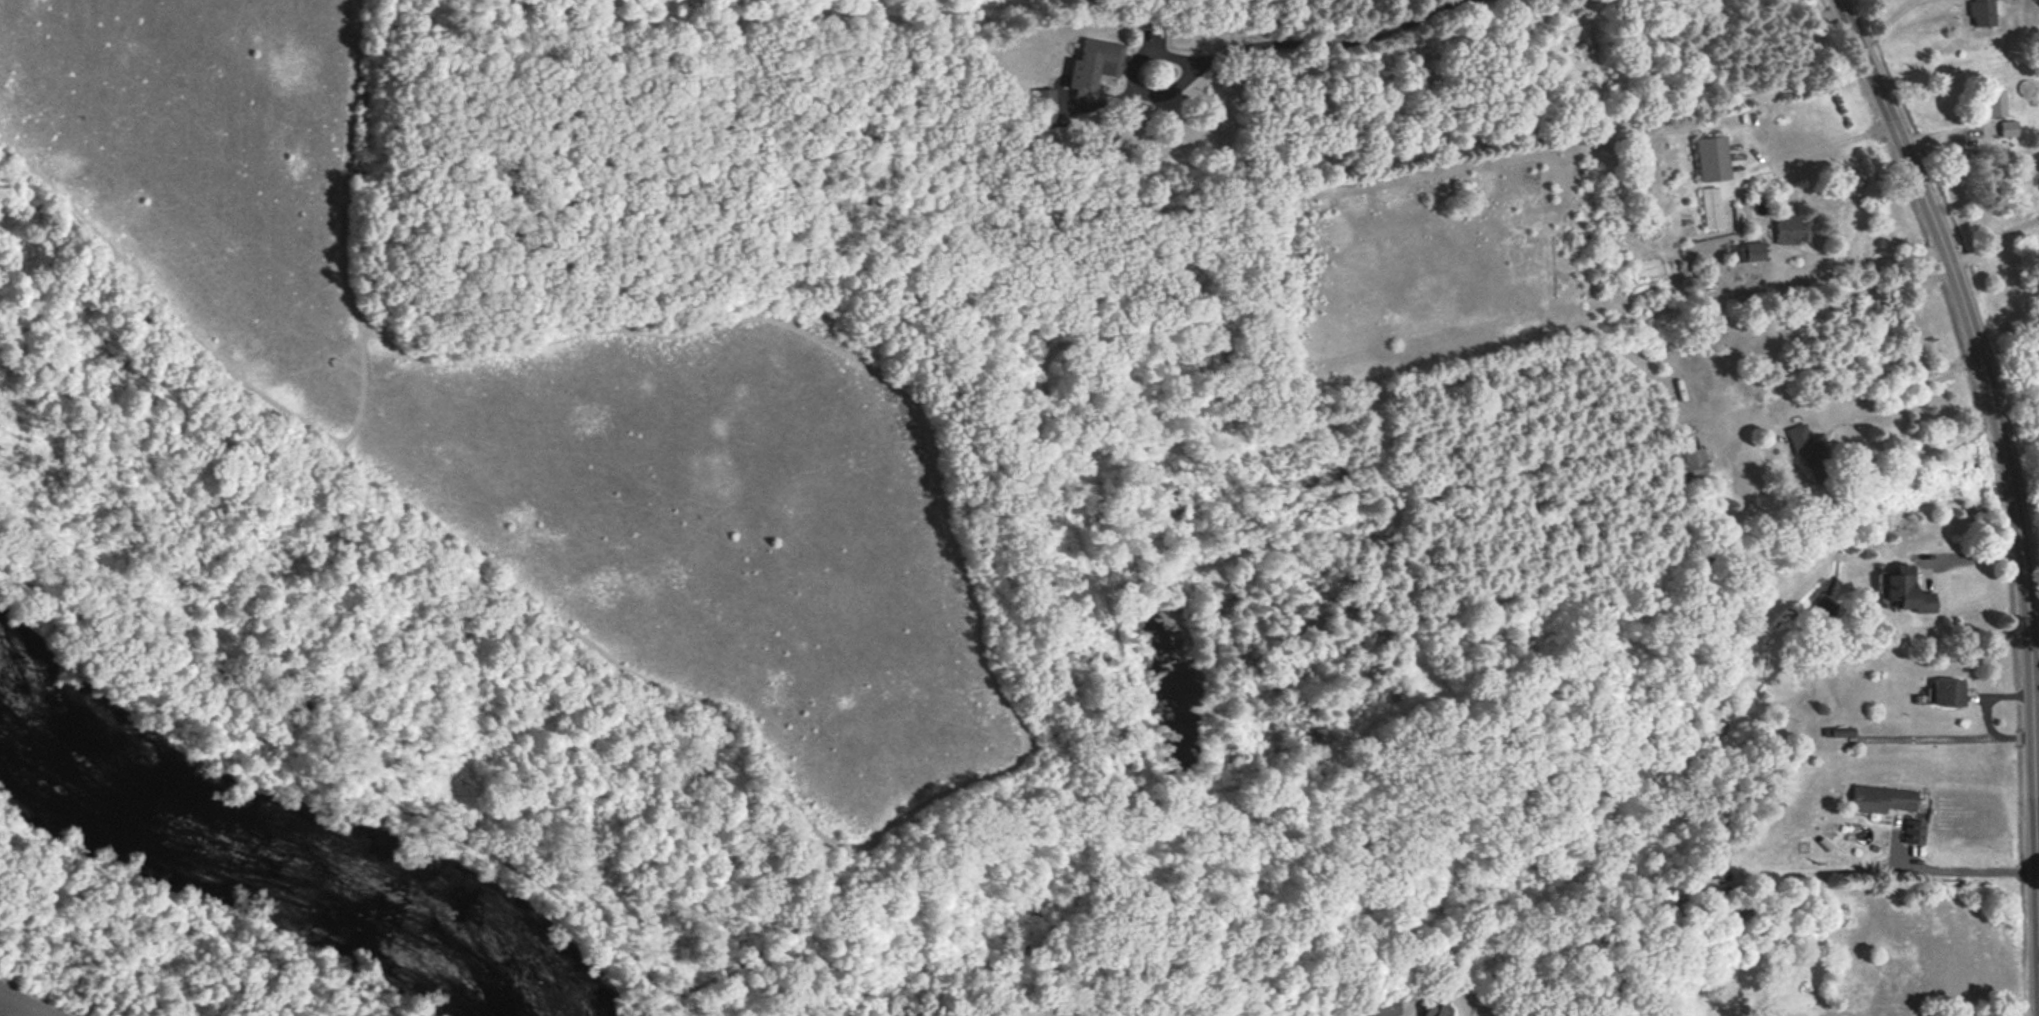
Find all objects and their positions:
building: (1983, 11)
road: (1329, 40)
building: (1094, 63)
road: (1125, 77)
building: (1992, 103)
building: (1043, 108)
building: (2007, 128)
road: (1831, 143)
building: (1711, 158)
building: (1710, 207)
building: (1791, 229)
building: (1745, 251)
road: (1996, 252)
road: (1860, 263)
road: (1903, 385)
park: (529, 400)
road: (1998, 425)
building: (1806, 452)
building: (1694, 462)
road: (1971, 566)
building: (1902, 590)
building: (1947, 692)
road: (2036, 701)
building: (1880, 798)
building: (1913, 831)
river: (224, 843)
road: (1954, 879)
building: (1382, 1007)
building: (1432, 1010)

